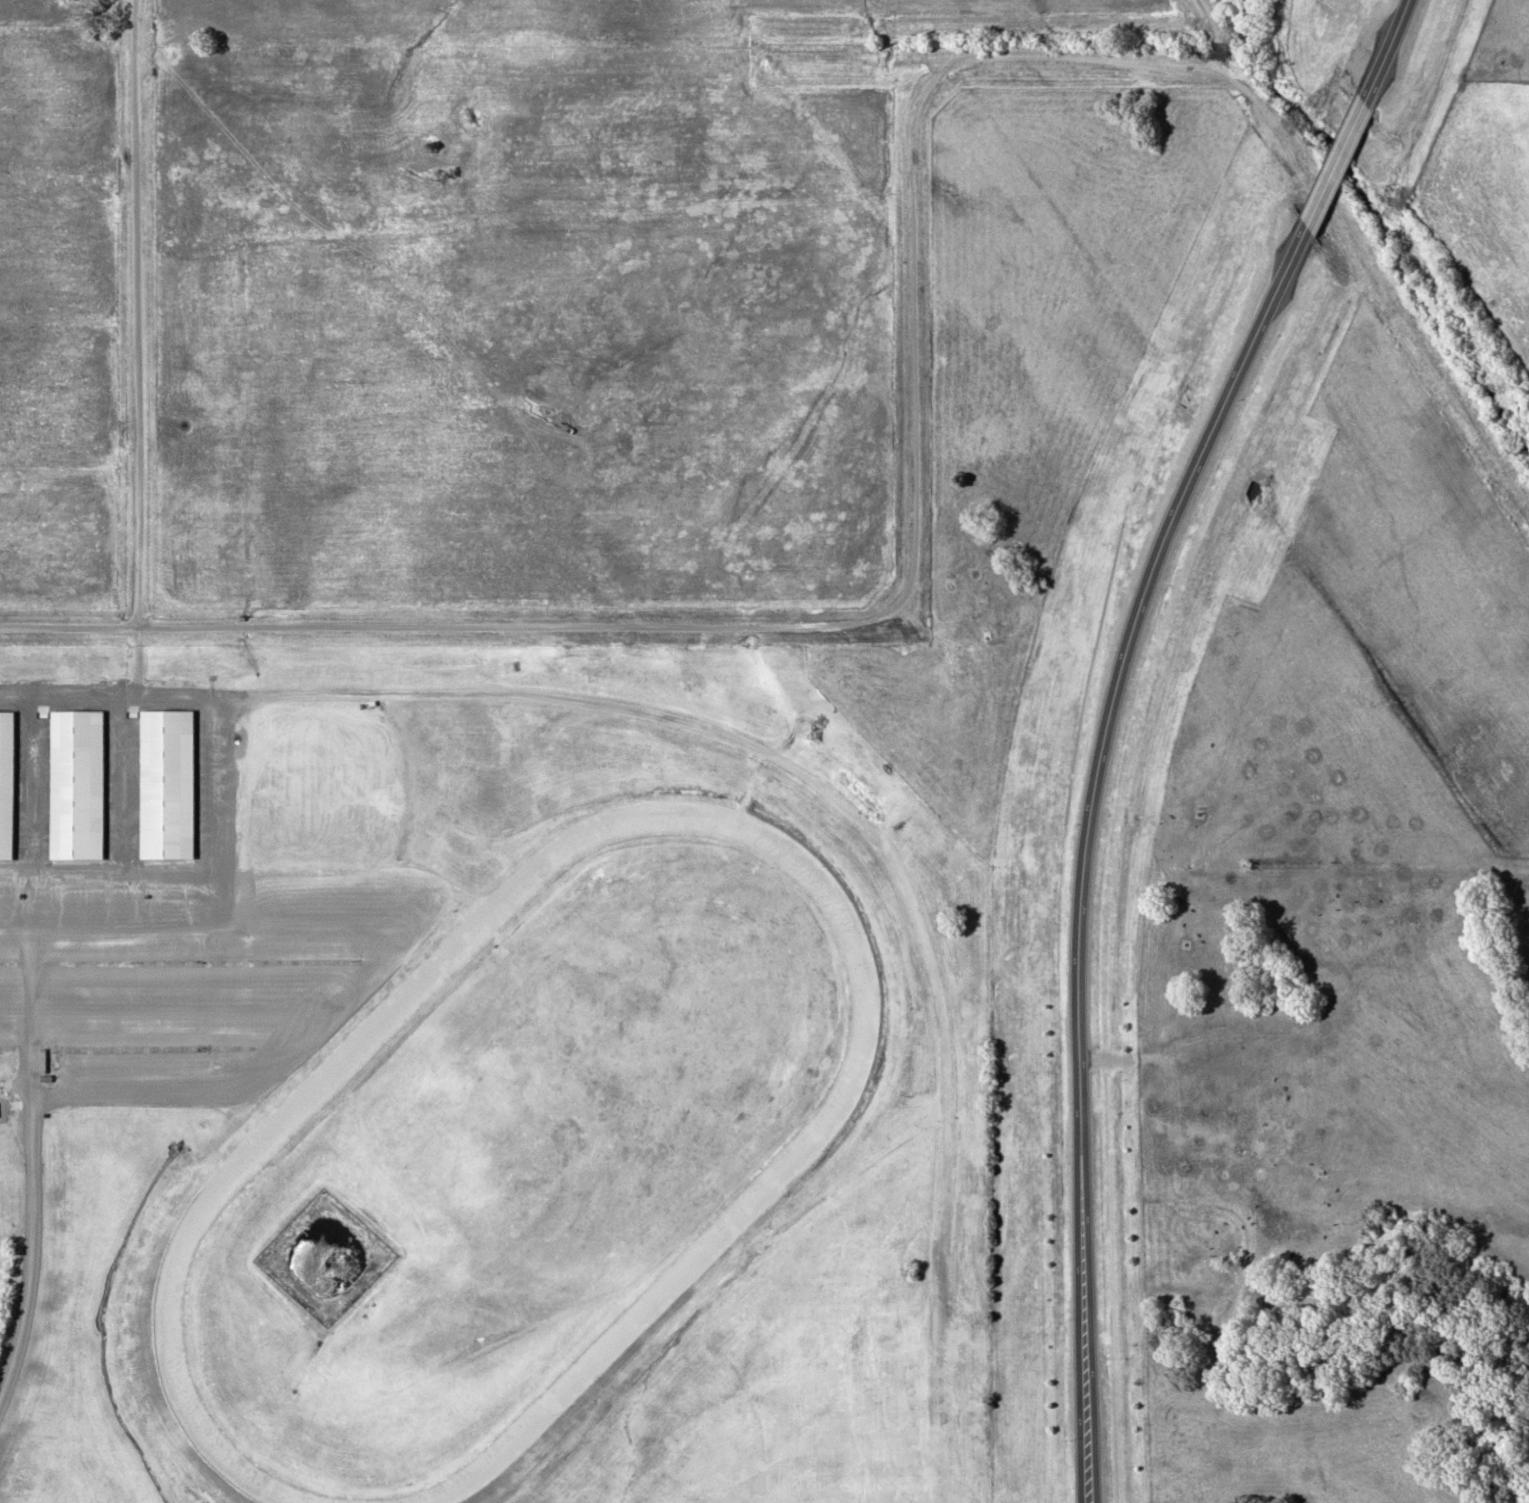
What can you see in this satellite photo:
road: (1211, 16)
road: (1215, 48)
road: (1386, 49)
road: (1335, 162)
road: (139, 314)
road: (863, 620)
building: (76, 782)
building: (167, 782)
building: (6, 783)
road: (1086, 843)
building: (428, 913)
road: (32, 1214)

